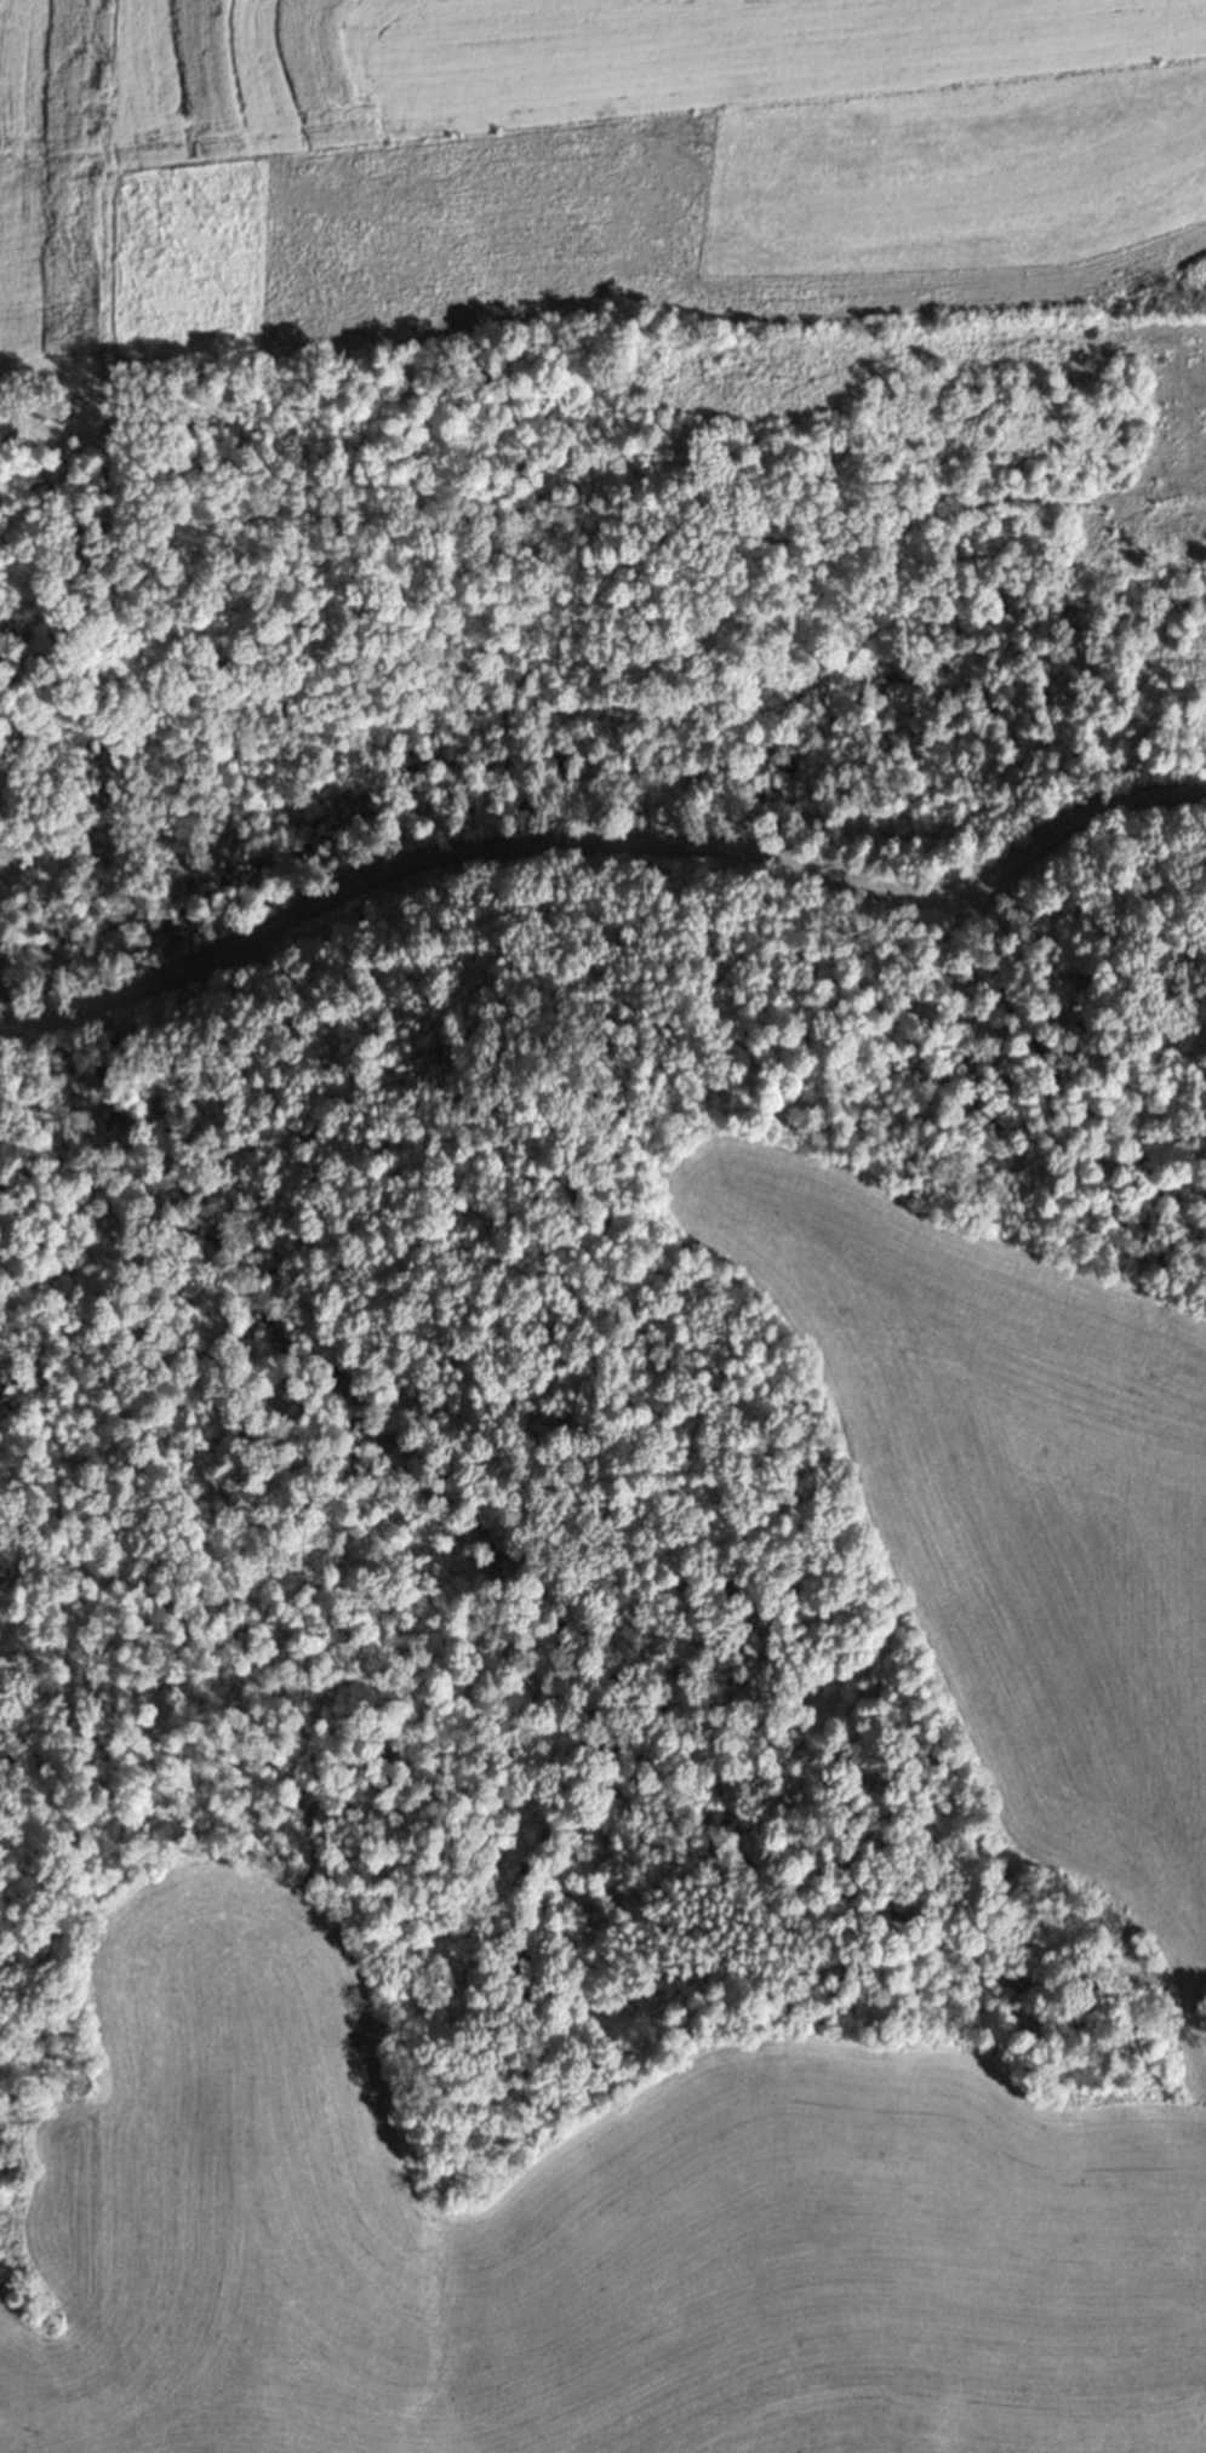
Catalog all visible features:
road: (601, 847)

